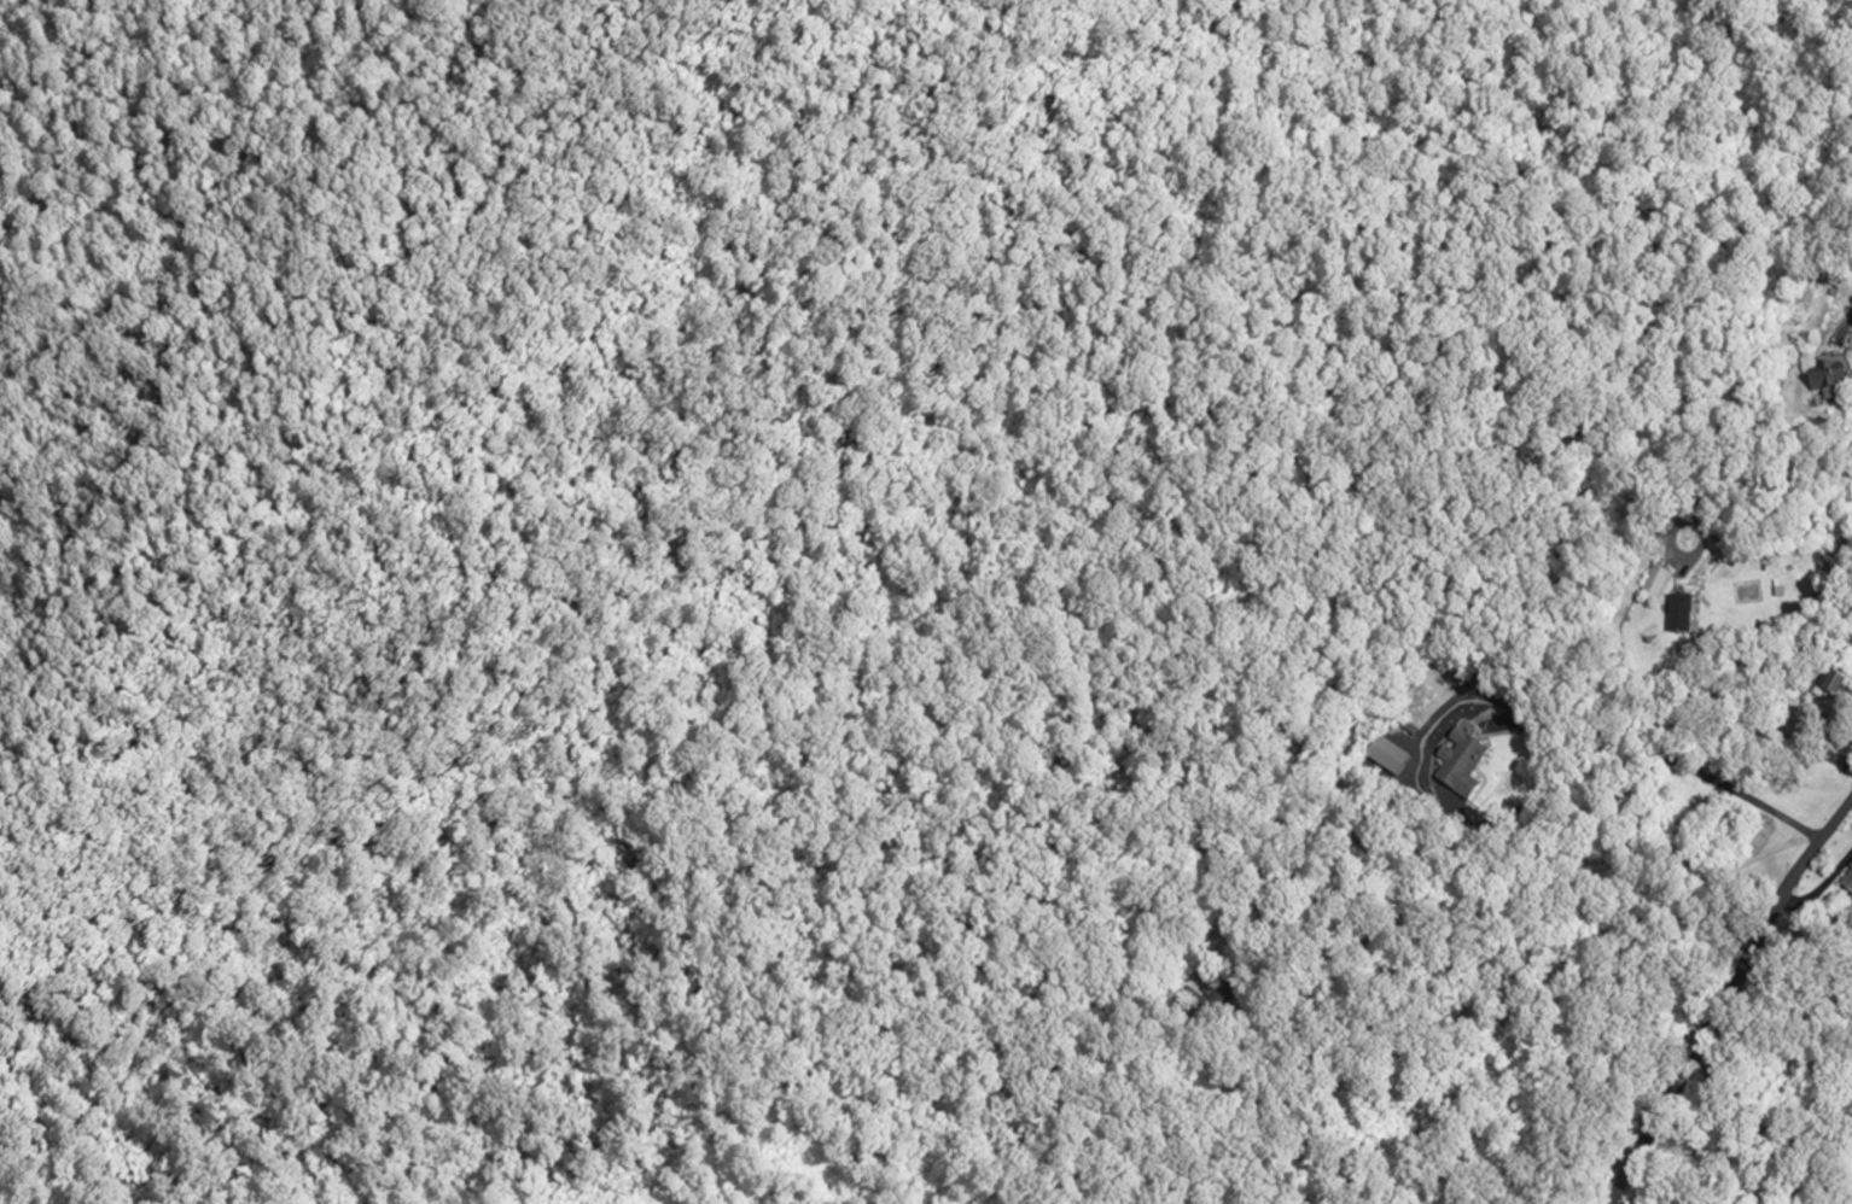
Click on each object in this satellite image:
road: (1841, 328)
building: (1829, 370)
road: (1775, 501)
road: (1688, 518)
building: (1656, 581)
building: (1682, 612)
building: (1474, 679)
building: (1836, 682)
building: (1410, 727)
building: (1388, 754)
building: (1462, 762)
road: (1846, 764)
road: (1524, 807)
building: (1847, 879)
road: (1819, 888)
road: (1452, 984)
building: (1225, 987)
road: (1725, 995)

